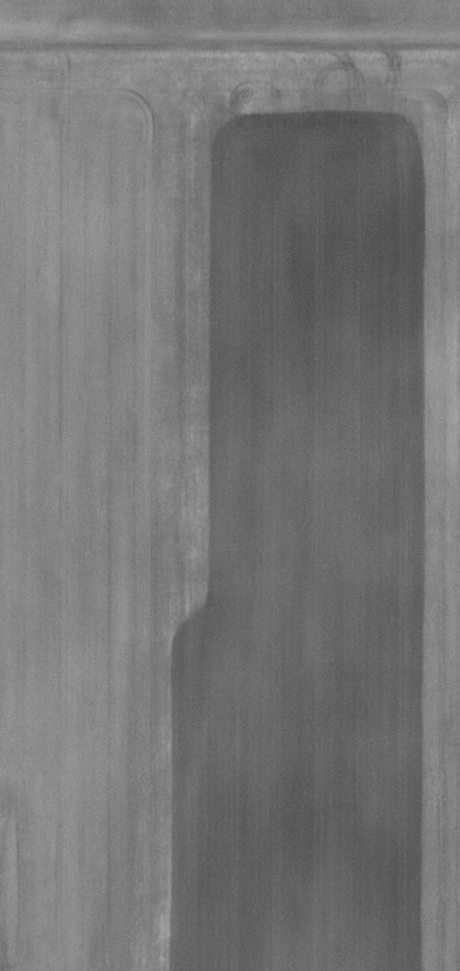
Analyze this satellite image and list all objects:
road: (230, 43)

